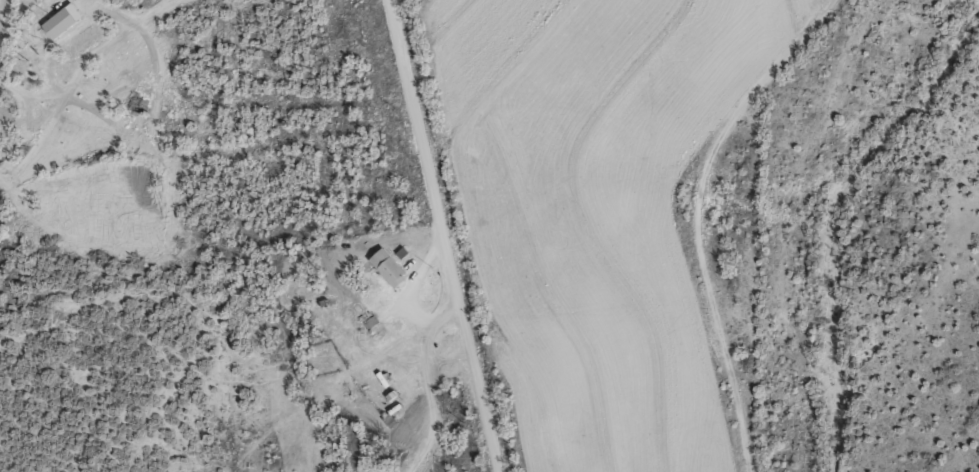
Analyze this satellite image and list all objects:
road: (161, 9)
building: (62, 20)
road: (47, 81)
road: (440, 235)
building: (388, 266)

